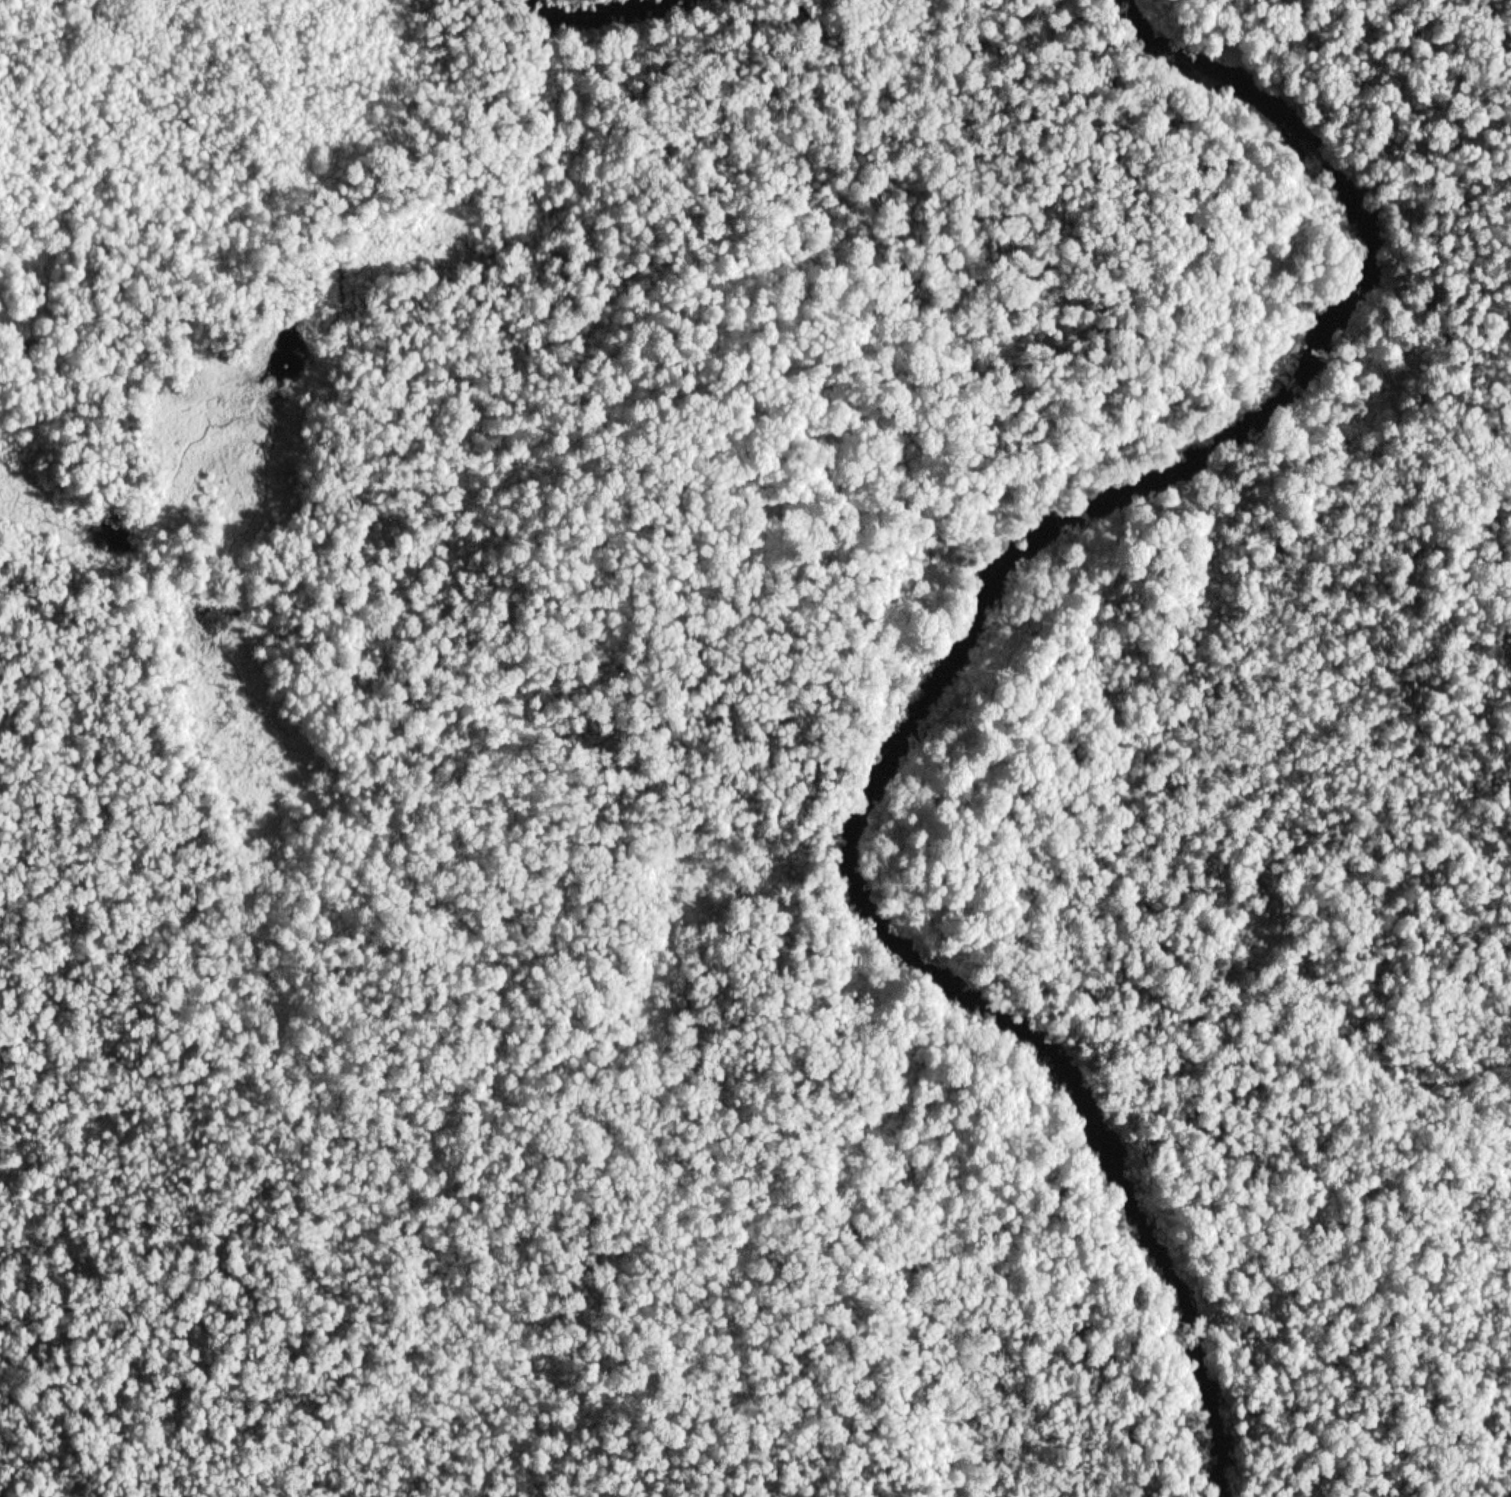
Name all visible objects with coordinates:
river: (575, 1)
river: (948, 659)

